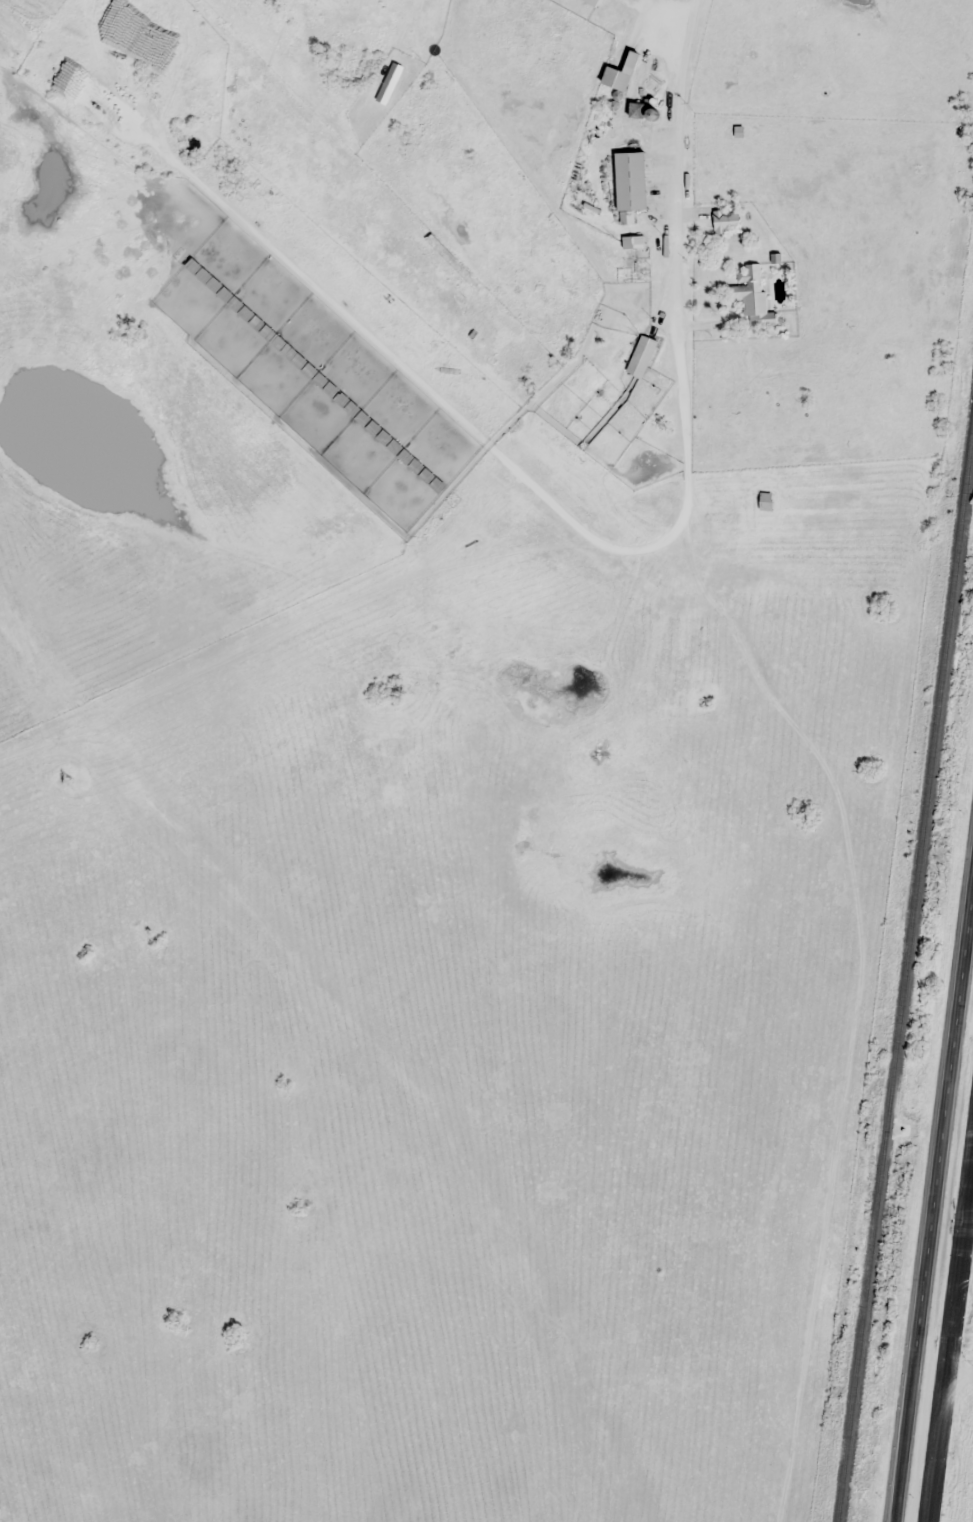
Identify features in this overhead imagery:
building: (597, 1)
building: (622, 73)
building: (390, 82)
building: (638, 109)
building: (631, 184)
road: (646, 197)
building: (727, 220)
building: (635, 258)
building: (453, 259)
building: (752, 296)
building: (642, 355)
building: (423, 471)
building: (767, 500)
road: (202, 614)
railway: (905, 996)
road: (931, 1192)
road: (949, 1336)

